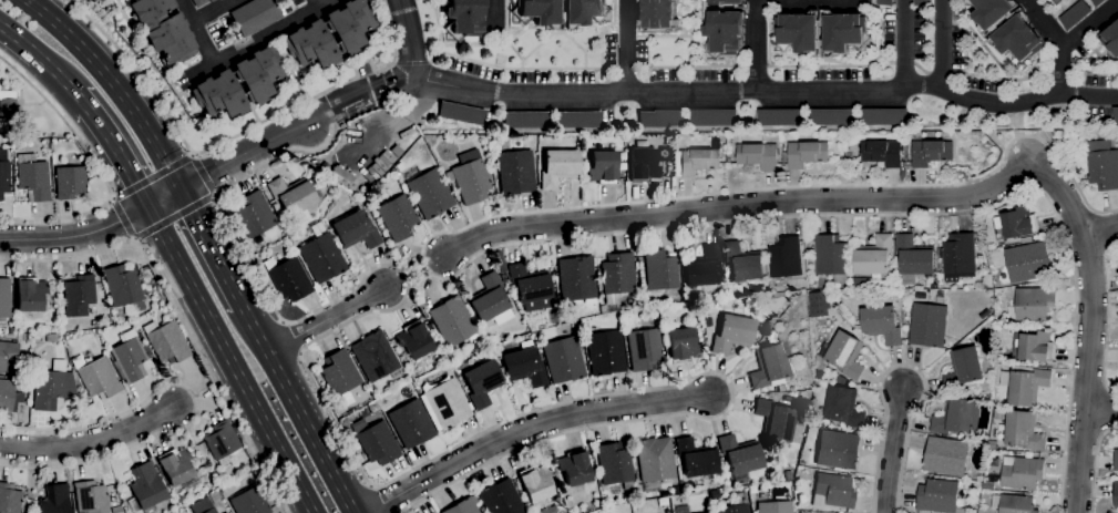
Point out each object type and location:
building: (199, 2)
building: (884, 2)
building: (921, 2)
park: (1053, 2)
building: (1097, 2)
road: (318, 3)
road: (208, 9)
building: (561, 12)
road: (495, 14)
building: (255, 16)
building: (658, 16)
building: (1075, 16)
building: (464, 18)
road: (1044, 23)
road: (1090, 24)
building: (724, 27)
building: (163, 29)
building: (1007, 29)
road: (197, 31)
building: (330, 34)
road: (409, 37)
building: (798, 37)
road: (261, 38)
building: (1110, 41)
road: (904, 42)
road: (624, 43)
road: (938, 44)
road: (753, 45)
road: (40, 58)
road: (1060, 70)
road: (115, 84)
building: (238, 84)
road: (392, 90)
road: (356, 91)
road: (767, 92)
road: (366, 94)
building: (8, 101)
road: (83, 101)
building: (460, 112)
road: (338, 113)
building: (1115, 115)
building: (832, 116)
building: (884, 116)
building: (660, 117)
building: (712, 117)
building: (780, 117)
building: (525, 119)
building: (577, 119)
building: (3, 126)
building: (667, 140)
building: (715, 143)
building: (16, 144)
building: (396, 150)
building: (45, 152)
building: (882, 153)
building: (931, 153)
building: (806, 154)
building: (623, 155)
road: (119, 156)
building: (758, 156)
building: (698, 161)
building: (643, 162)
building: (1102, 165)
building: (603, 166)
building: (558, 167)
road: (99, 170)
building: (515, 171)
road: (204, 174)
road: (154, 176)
building: (4, 177)
building: (33, 177)
building: (70, 181)
building: (470, 181)
building: (328, 183)
building: (335, 186)
traffic signals: (181, 189)
building: (428, 191)
building: (295, 197)
road: (158, 199)
road: (758, 205)
traffic signals: (148, 206)
building: (279, 213)
building: (254, 214)
road: (175, 216)
building: (397, 216)
road: (124, 218)
building: (1017, 223)
building: (356, 229)
road: (1099, 232)
building: (1026, 240)
road: (503, 245)
road: (212, 247)
building: (874, 256)
building: (322, 257)
building: (957, 257)
building: (832, 258)
building: (914, 259)
building: (500, 260)
building: (784, 260)
building: (743, 263)
building: (1027, 263)
building: (636, 265)
building: (702, 267)
road: (414, 269)
building: (660, 270)
building: (617, 275)
building: (288, 278)
building: (576, 278)
building: (986, 283)
building: (863, 284)
building: (124, 287)
building: (530, 287)
building: (850, 287)
building: (30, 294)
building: (79, 295)
building: (4, 297)
building: (489, 298)
building: (1035, 304)
road: (177, 312)
road: (1107, 319)
road: (325, 320)
building: (453, 321)
building: (881, 325)
building: (927, 326)
building: (11, 330)
building: (731, 332)
building: (414, 339)
building: (166, 340)
road: (312, 341)
building: (683, 345)
road: (1089, 346)
building: (1033, 347)
building: (644, 348)
building: (605, 352)
building: (8, 353)
building: (844, 355)
building: (129, 356)
building: (375, 356)
building: (443, 358)
road: (232, 359)
building: (563, 359)
building: (524, 366)
road: (903, 366)
building: (771, 367)
building: (963, 369)
building: (339, 372)
building: (820, 375)
building: (96, 376)
building: (482, 382)
building: (50, 384)
building: (1025, 384)
building: (780, 387)
building: (9, 396)
road: (199, 401)
building: (445, 402)
building: (844, 407)
road: (298, 410)
road: (1100, 411)
road: (1108, 412)
building: (998, 414)
building: (957, 417)
building: (775, 419)
building: (411, 423)
road: (529, 428)
building: (1023, 431)
building: (220, 439)
road: (89, 440)
building: (376, 441)
building: (993, 444)
building: (838, 450)
road: (892, 450)
building: (739, 455)
building: (696, 456)
building: (946, 456)
building: (1115, 460)
building: (994, 461)
building: (655, 462)
road: (1095, 464)
building: (175, 465)
building: (615, 466)
building: (574, 468)
building: (778, 473)
building: (1020, 473)
building: (788, 475)
building: (535, 482)
building: (147, 486)
building: (988, 486)
building: (834, 489)
building: (1116, 495)
building: (937, 496)
building: (91, 497)
building: (501, 497)
building: (9, 499)
building: (181, 499)
building: (55, 500)
building: (249, 502)
building: (734, 504)
building: (1014, 504)
building: (463, 505)
building: (203, 506)
building: (773, 506)
building: (681, 509)
building: (548, 510)
building: (225, 512)
building: (226, 512)
building: (706, 512)
building: (842, 512)

